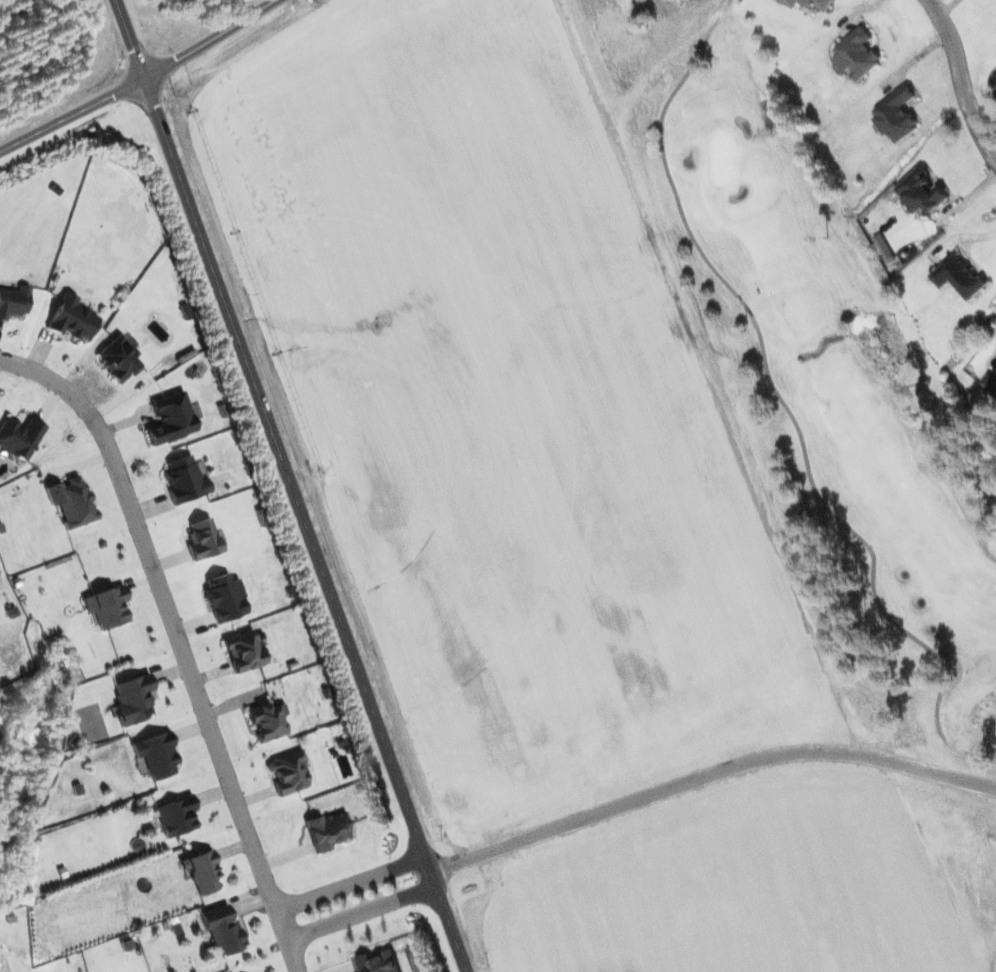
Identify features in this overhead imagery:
building: (810, 3)
road: (130, 38)
building: (856, 54)
road: (137, 79)
road: (958, 81)
building: (896, 115)
building: (923, 192)
building: (959, 276)
building: (13, 301)
building: (72, 318)
building: (117, 358)
building: (990, 382)
building: (170, 419)
building: (19, 437)
building: (184, 480)
building: (71, 501)
road: (305, 524)
building: (202, 539)
park: (903, 576)
building: (224, 598)
building: (106, 607)
road: (174, 624)
building: (243, 651)
building: (132, 699)
building: (268, 721)
building: (156, 754)
building: (288, 773)
road: (708, 773)
road: (981, 803)
building: (176, 816)
building: (328, 831)
building: (201, 871)
road: (351, 878)
road: (363, 913)
building: (222, 930)
road: (295, 956)
building: (416, 958)
building: (379, 962)

